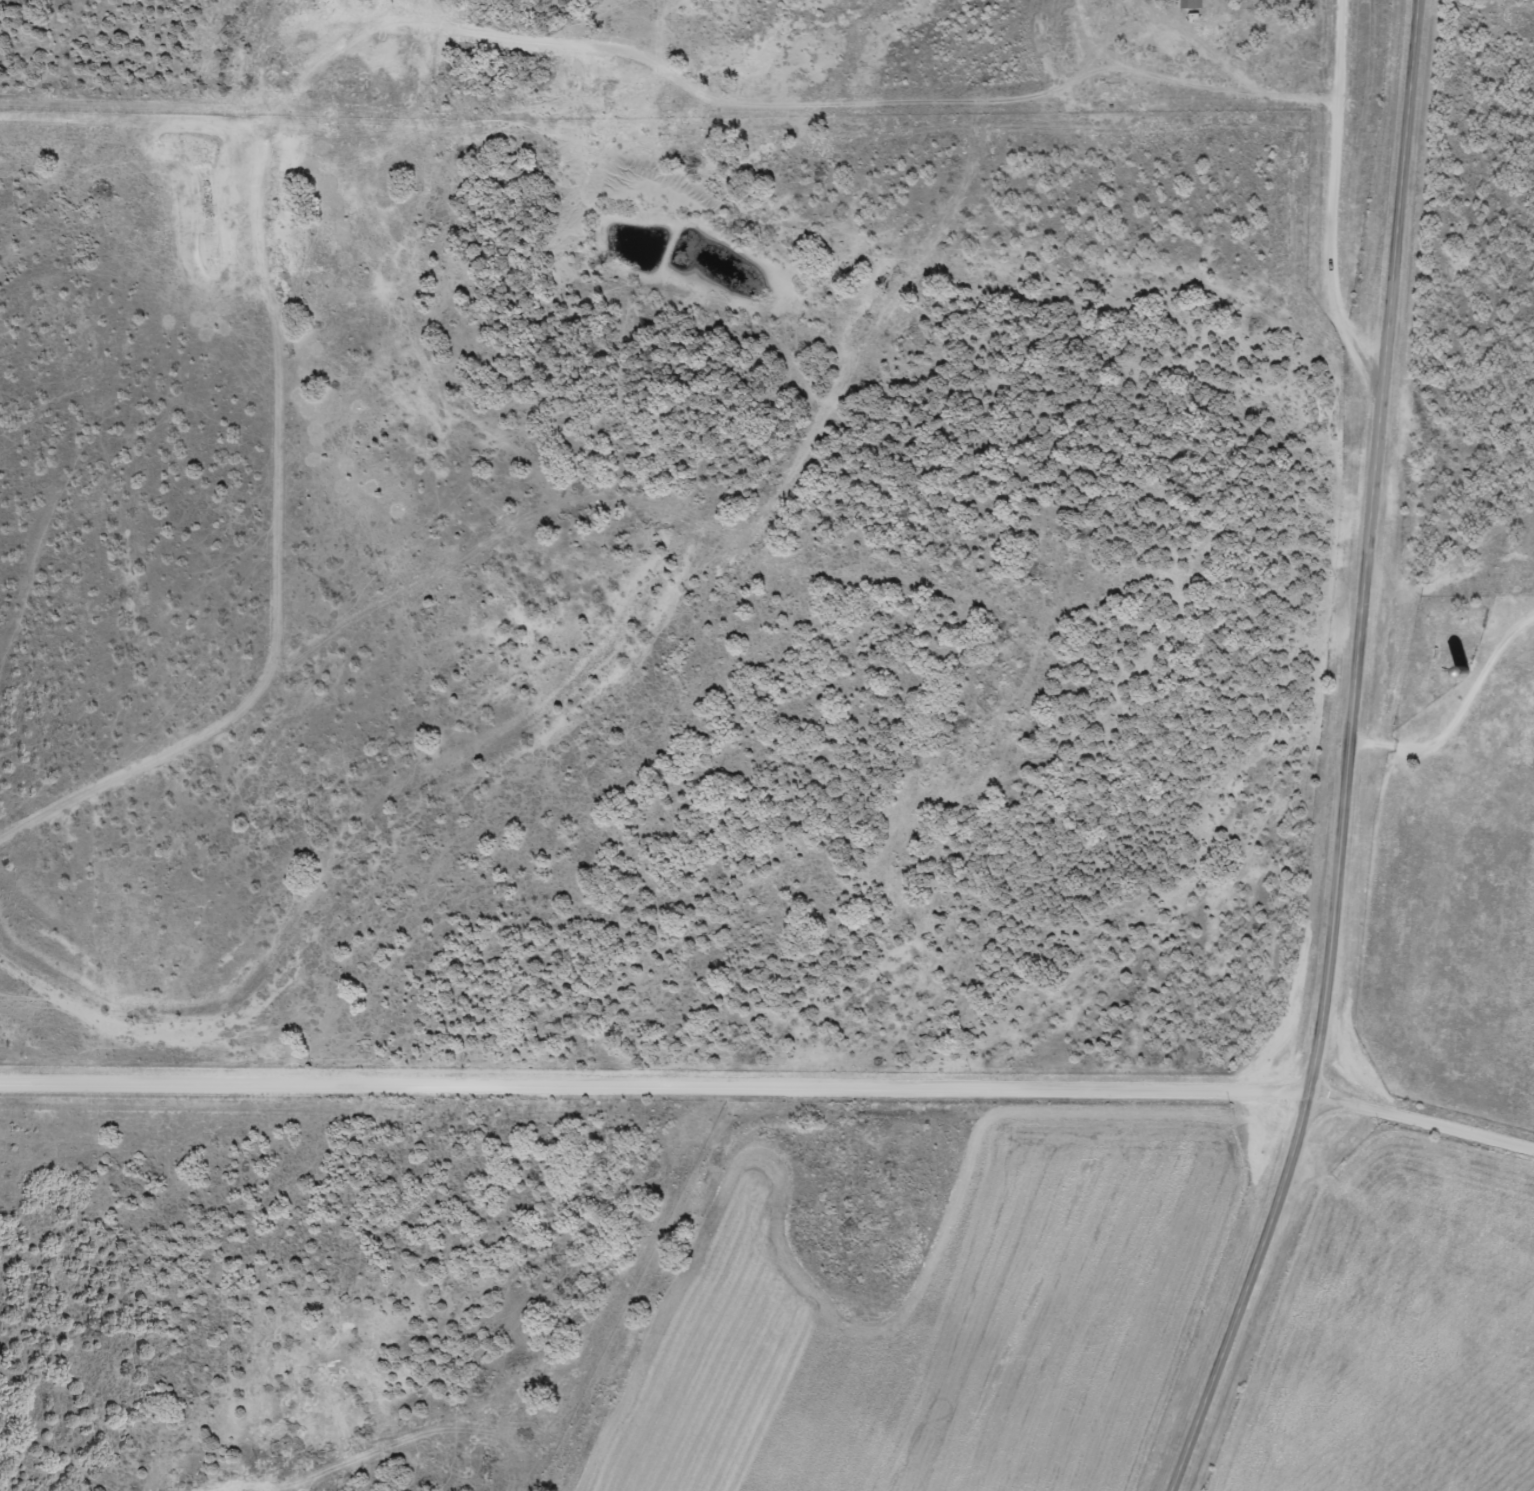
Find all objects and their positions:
building: (1191, 5)
road: (1207, 74)
road: (1336, 197)
road: (1351, 756)
road: (770, 1111)

